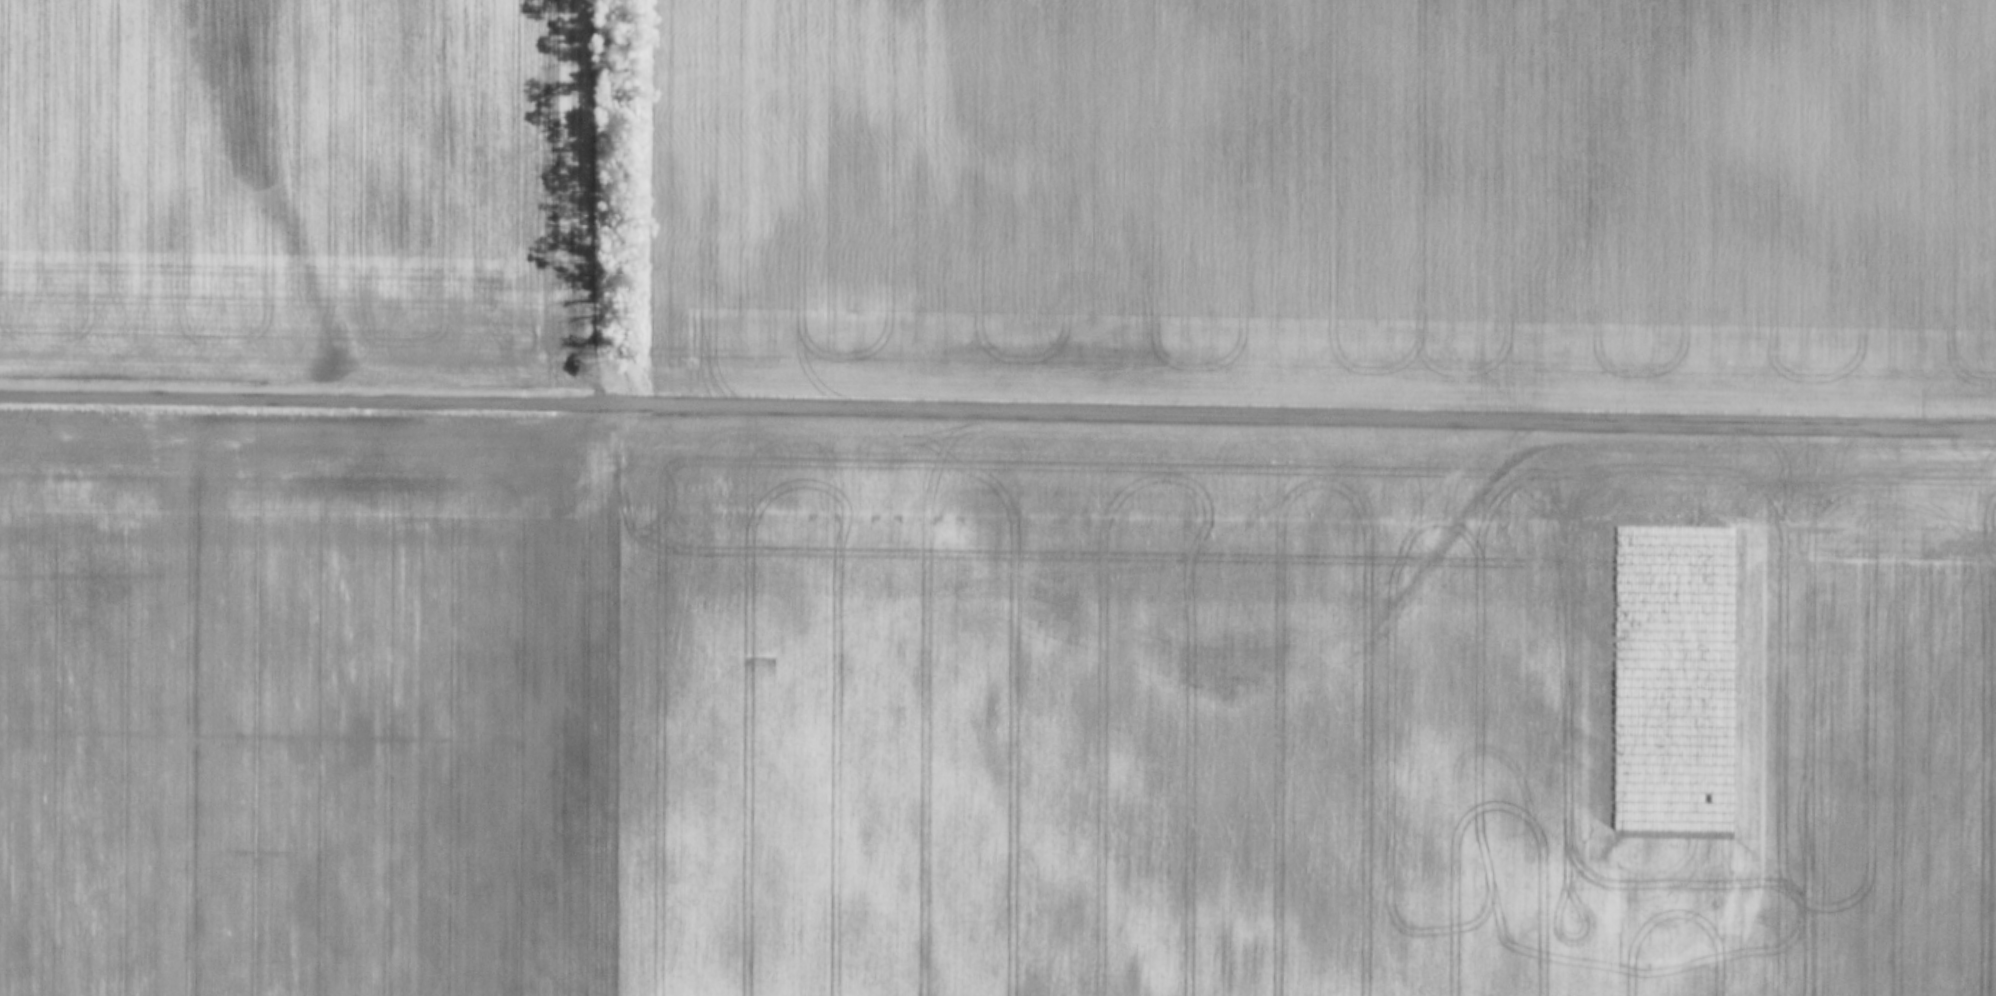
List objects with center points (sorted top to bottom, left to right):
road: (998, 414)

